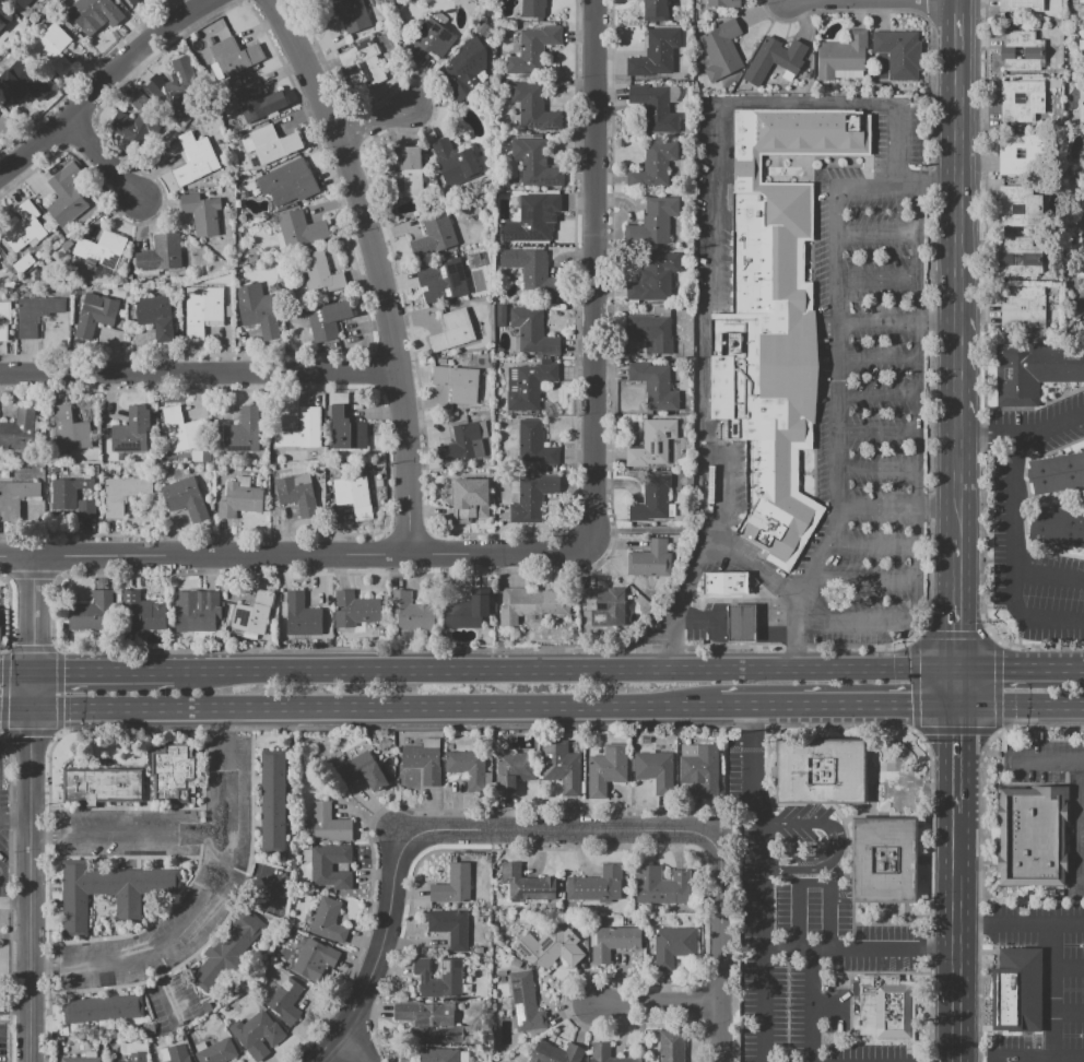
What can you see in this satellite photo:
building: (4, 0)
building: (1081, 1)
building: (23, 2)
building: (134, 2)
building: (723, 3)
building: (1021, 5)
building: (532, 8)
building: (655, 10)
building: (96, 12)
building: (345, 14)
building: (4, 17)
building: (481, 27)
building: (432, 38)
building: (531, 48)
building: (52, 49)
building: (721, 49)
building: (1021, 51)
building: (655, 52)
building: (898, 52)
building: (843, 55)
building: (233, 56)
building: (1081, 56)
building: (774, 59)
building: (364, 60)
road: (84, 73)
building: (459, 75)
building: (22, 81)
road: (105, 82)
building: (177, 88)
building: (135, 98)
building: (1021, 101)
building: (258, 102)
building: (1081, 102)
road: (805, 105)
building: (533, 107)
building: (653, 107)
road: (374, 123)
building: (125, 125)
building: (766, 132)
building: (822, 132)
building: (268, 145)
road: (896, 145)
building: (1020, 153)
building: (1034, 153)
road: (104, 158)
building: (195, 158)
building: (455, 163)
building: (534, 163)
building: (653, 165)
building: (405, 174)
building: (287, 182)
road: (939, 187)
building: (66, 196)
road: (712, 201)
building: (1018, 206)
building: (1082, 212)
building: (201, 213)
building: (530, 217)
building: (653, 222)
building: (24, 227)
building: (299, 228)
road: (877, 234)
building: (434, 236)
building: (98, 248)
building: (160, 255)
building: (1080, 256)
building: (1021, 257)
road: (958, 262)
road: (378, 268)
building: (532, 271)
road: (592, 271)
building: (320, 272)
building: (444, 278)
building: (652, 278)
road: (877, 278)
road: (939, 278)
building: (1026, 306)
building: (258, 309)
building: (201, 312)
building: (35, 314)
building: (94, 315)
building: (155, 315)
building: (500, 315)
building: (4, 318)
road: (879, 319)
building: (328, 320)
building: (652, 328)
building: (452, 331)
building: (532, 331)
road: (919, 346)
building: (767, 350)
road: (877, 359)
building: (1060, 362)
road: (198, 370)
road: (836, 374)
building: (1016, 375)
road: (702, 378)
building: (458, 382)
building: (528, 385)
building: (655, 385)
road: (876, 394)
parking lot: (851, 409)
building: (343, 423)
building: (73, 424)
building: (17, 429)
building: (182, 429)
building: (302, 429)
building: (132, 430)
road: (876, 430)
building: (243, 432)
road: (1023, 434)
building: (466, 441)
building: (652, 442)
building: (534, 445)
road: (877, 468)
building: (95, 470)
building: (1057, 473)
building: (122, 494)
building: (297, 494)
building: (353, 495)
building: (72, 496)
building: (15, 497)
building: (184, 498)
building: (239, 498)
building: (532, 498)
building: (651, 498)
building: (469, 499)
road: (712, 499)
road: (876, 506)
road: (938, 507)
building: (1059, 527)
road: (648, 530)
road: (1014, 540)
road: (871, 545)
road: (498, 552)
road: (222, 555)
road: (16, 557)
building: (650, 559)
road: (916, 562)
road: (753, 569)
road: (862, 580)
road: (693, 582)
building: (723, 582)
road: (956, 595)
building: (537, 604)
building: (602, 606)
building: (353, 609)
building: (409, 610)
building: (141, 611)
building: (91, 612)
building: (198, 612)
building: (252, 613)
building: (466, 613)
road: (33, 614)
road: (740, 614)
road: (774, 614)
building: (301, 616)
road: (855, 616)
road: (1026, 619)
road: (700, 622)
building: (740, 623)
gas station: (740, 623)
road: (711, 632)
traffic signals: (956, 632)
road: (740, 634)
road: (774, 634)
road: (997, 640)
traffic signals: (33, 645)
road: (673, 645)
road: (793, 651)
traffic signals: (1003, 666)
road: (1021, 666)
road: (563, 669)
road: (16, 671)
traffic signals: (63, 671)
road: (99, 671)
road: (957, 686)
road: (58, 700)
road: (3, 704)
road: (1021, 706)
road: (369, 707)
road: (834, 707)
traffic signals: (910, 707)
road: (15, 710)
road: (488, 727)
road: (33, 730)
traffic signals: (957, 733)
traffic signals: (31, 737)
road: (1047, 759)
road: (956, 760)
building: (422, 762)
building: (467, 765)
building: (559, 767)
building: (363, 768)
building: (606, 769)
building: (655, 770)
building: (818, 770)
building: (512, 771)
building: (700, 771)
building: (173, 774)
building: (102, 786)
building: (273, 800)
road: (14, 818)
road: (1082, 821)
building: (328, 824)
road: (763, 824)
road: (558, 830)
road: (128, 833)
building: (1030, 835)
road: (836, 843)
road: (809, 858)
building: (882, 861)
road: (30, 866)
building: (320, 868)
road: (955, 870)
road: (250, 882)
building: (527, 884)
building: (451, 885)
building: (594, 885)
road: (812, 885)
building: (660, 886)
building: (109, 892)
road: (14, 902)
road: (205, 904)
parking lot: (1048, 911)
building: (327, 920)
road: (1020, 924)
building: (448, 927)
building: (613, 942)
road: (801, 944)
road: (720, 945)
building: (671, 946)
building: (549, 947)
building: (227, 951)
building: (313, 955)
road: (381, 955)
road: (1065, 968)
building: (450, 977)
road: (164, 986)
building: (1016, 990)
road: (1047, 991)
road: (955, 993)
building: (283, 996)
building: (523, 1002)
road: (658, 1003)
road: (809, 1003)
road: (826, 1003)
building: (887, 1006)
road: (14, 1007)
road: (1065, 1007)
building: (103, 1008)
building: (428, 1020)
building: (255, 1029)
building: (670, 1047)
building: (257, 1051)
building: (216, 1052)
road: (350, 1052)
building: (177, 1053)
building: (555, 1053)
building: (439, 1054)
building: (608, 1054)
building: (138, 1057)
road: (1036, 1059)
building: (80, 1060)

